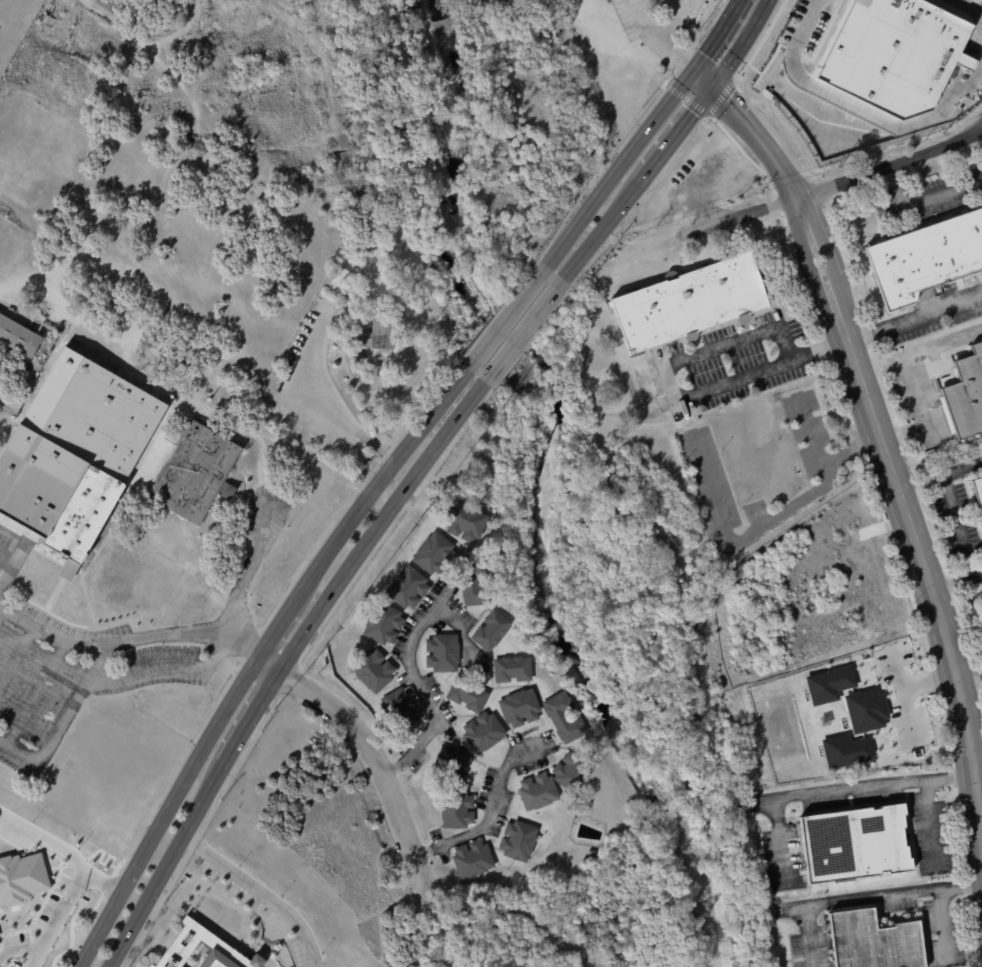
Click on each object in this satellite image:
road: (980, 0)
road: (672, 21)
road: (814, 26)
road: (659, 39)
building: (893, 53)
traffic signals: (691, 74)
traffic signals: (709, 90)
road: (969, 130)
road: (644, 132)
road: (670, 142)
building: (341, 148)
road: (887, 164)
road: (925, 201)
road: (737, 214)
building: (926, 258)
building: (336, 280)
building: (938, 288)
building: (690, 303)
road: (913, 316)
road: (509, 317)
road: (524, 329)
building: (18, 337)
building: (375, 342)
road: (942, 343)
road: (913, 388)
road: (676, 390)
building: (966, 394)
road: (335, 410)
road: (880, 439)
road: (820, 459)
building: (103, 460)
road: (939, 477)
road: (379, 479)
building: (978, 491)
road: (954, 510)
building: (465, 521)
road: (380, 525)
road: (741, 539)
building: (434, 554)
road: (245, 571)
building: (474, 580)
road: (956, 580)
building: (407, 587)
building: (383, 624)
road: (275, 626)
road: (51, 627)
building: (491, 630)
road: (183, 631)
building: (442, 653)
road: (411, 664)
building: (512, 669)
building: (372, 670)
road: (898, 671)
road: (969, 677)
building: (830, 683)
road: (908, 687)
building: (467, 694)
building: (519, 707)
building: (401, 708)
building: (865, 709)
road: (251, 715)
building: (564, 716)
road: (61, 718)
building: (483, 732)
building: (846, 750)
road: (374, 764)
building: (449, 766)
building: (572, 771)
road: (872, 784)
building: (537, 792)
building: (456, 809)
road: (166, 812)
road: (489, 813)
road: (932, 821)
park: (294, 829)
building: (518, 840)
building: (854, 845)
building: (472, 859)
road: (79, 863)
road: (167, 863)
building: (21, 875)
road: (261, 891)
road: (915, 891)
road: (943, 921)
building: (874, 941)
road: (19, 947)
building: (201, 949)
road: (35, 956)

